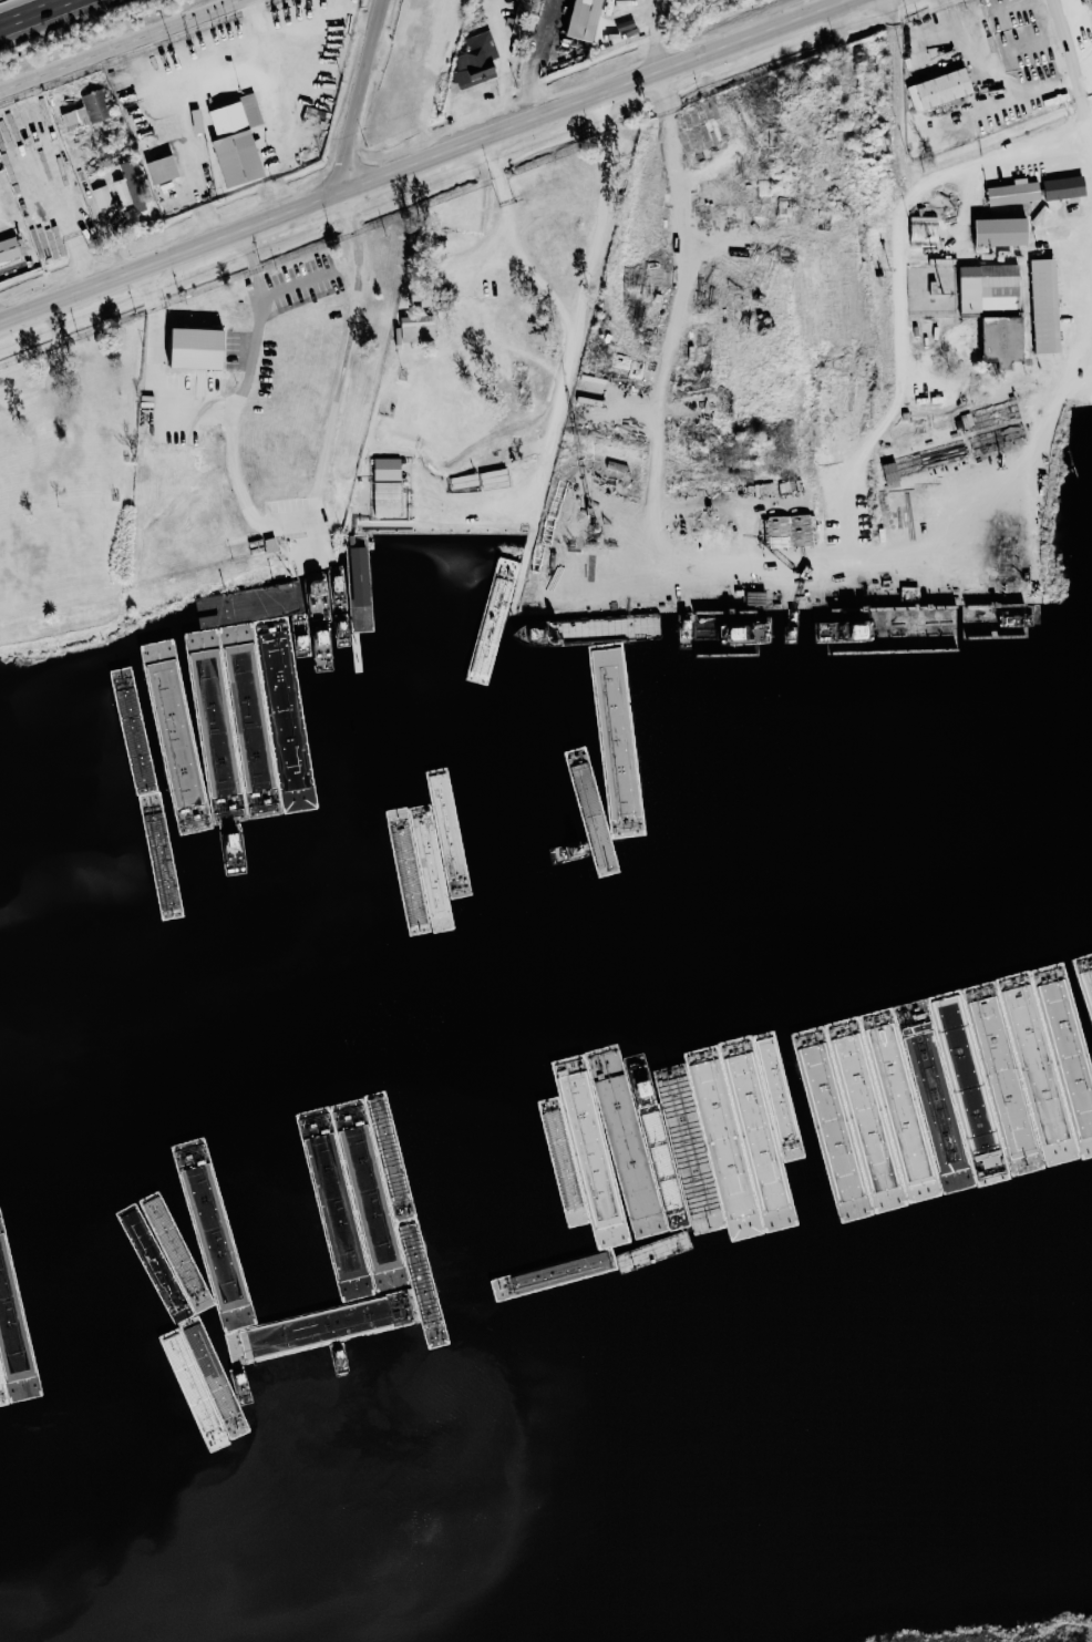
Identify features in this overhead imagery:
road: (38, 14)
building: (588, 19)
road: (123, 47)
building: (476, 59)
road: (1071, 60)
building: (935, 89)
road: (374, 93)
road: (1028, 96)
building: (87, 111)
road: (1091, 121)
road: (427, 162)
building: (164, 170)
road: (917, 181)
building: (1058, 187)
building: (131, 188)
building: (1008, 193)
building: (102, 196)
road: (66, 225)
building: (918, 228)
building: (992, 232)
road: (509, 236)
building: (9, 249)
building: (983, 287)
building: (1039, 306)
road: (674, 308)
road: (257, 326)
building: (418, 329)
road: (563, 336)
building: (992, 340)
building: (202, 349)
building: (916, 463)
building: (389, 468)
road: (295, 510)
building: (790, 530)
building: (976, 545)
building: (1008, 556)
building: (866, 581)

